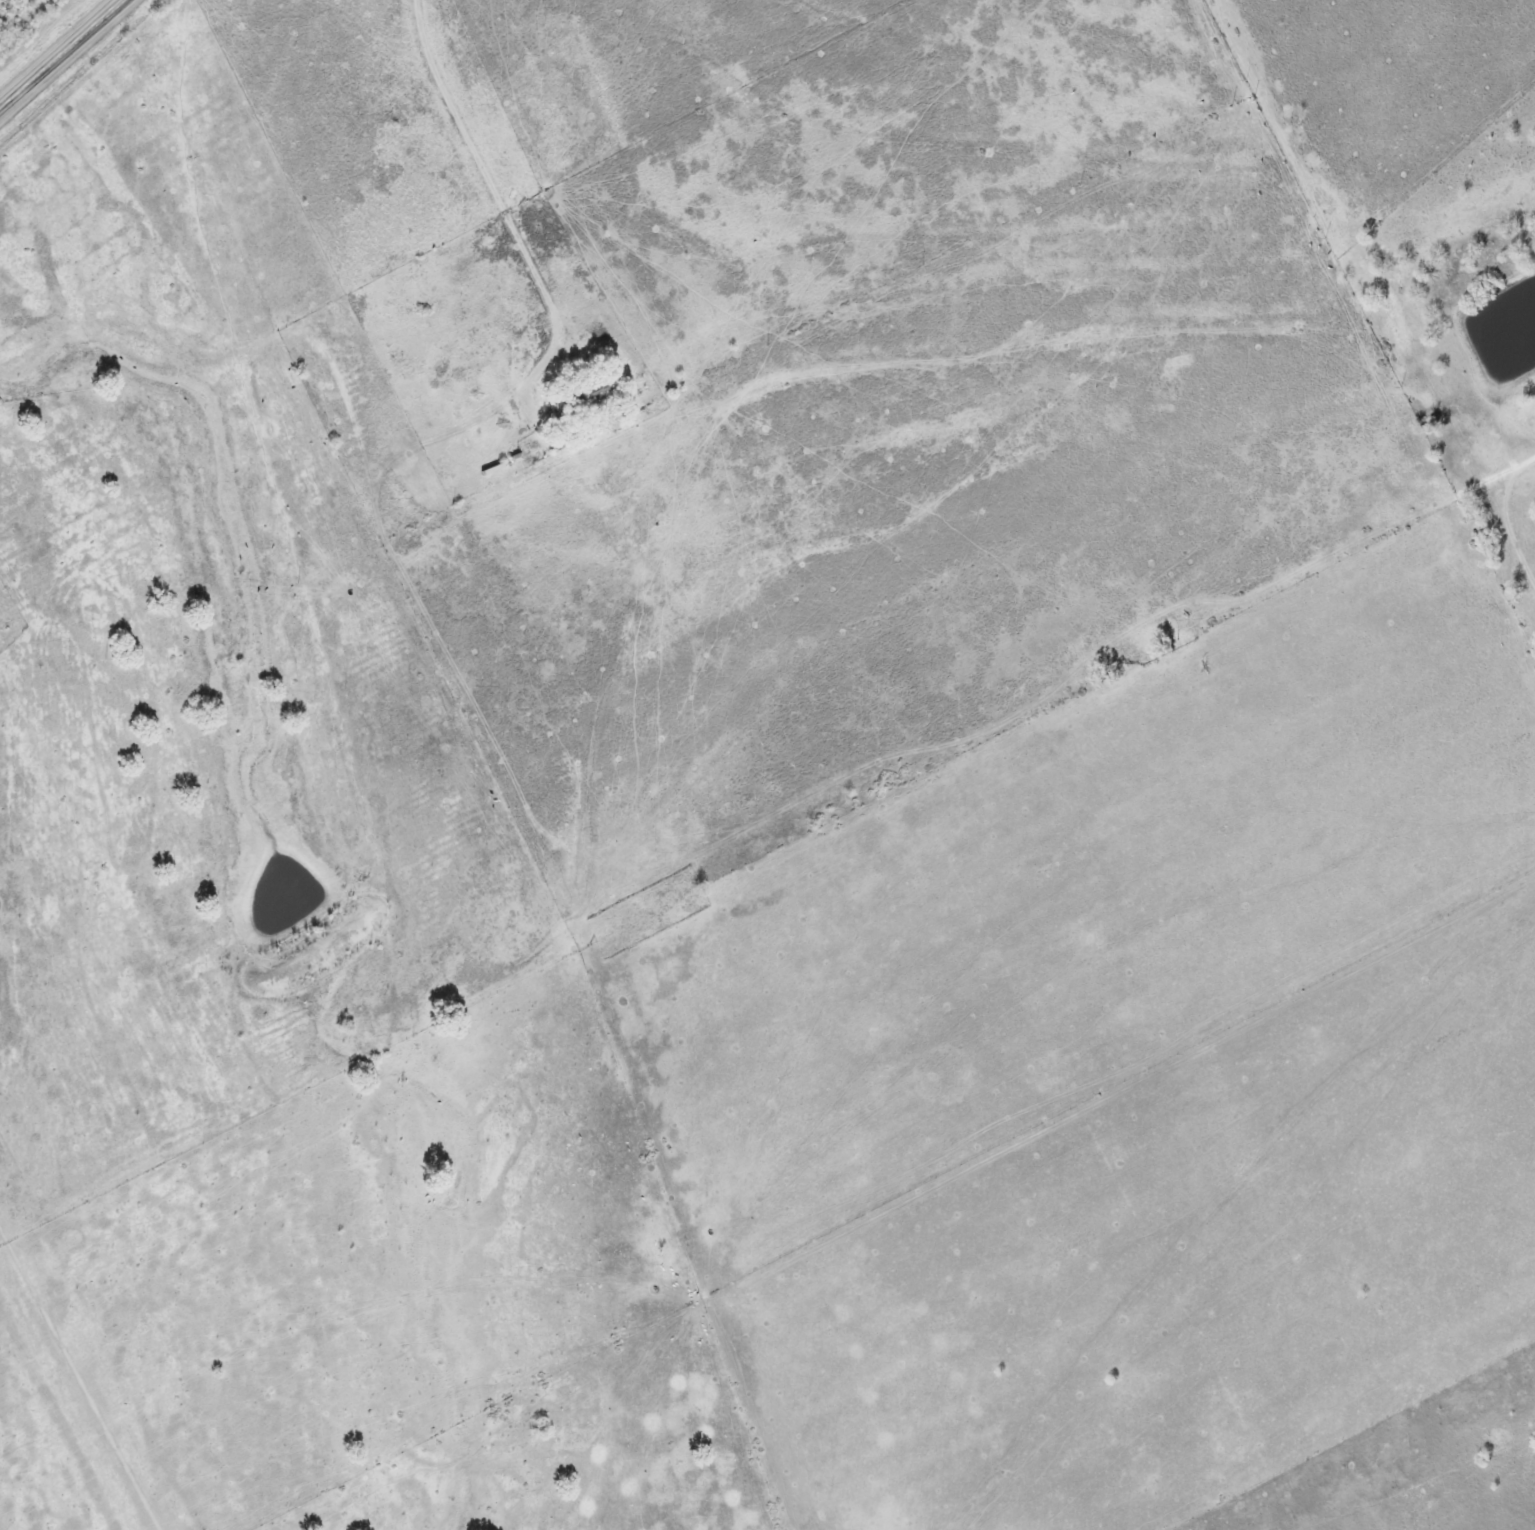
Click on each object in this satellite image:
road: (61, 54)
road: (502, 215)
building: (594, 390)
road: (1496, 479)

